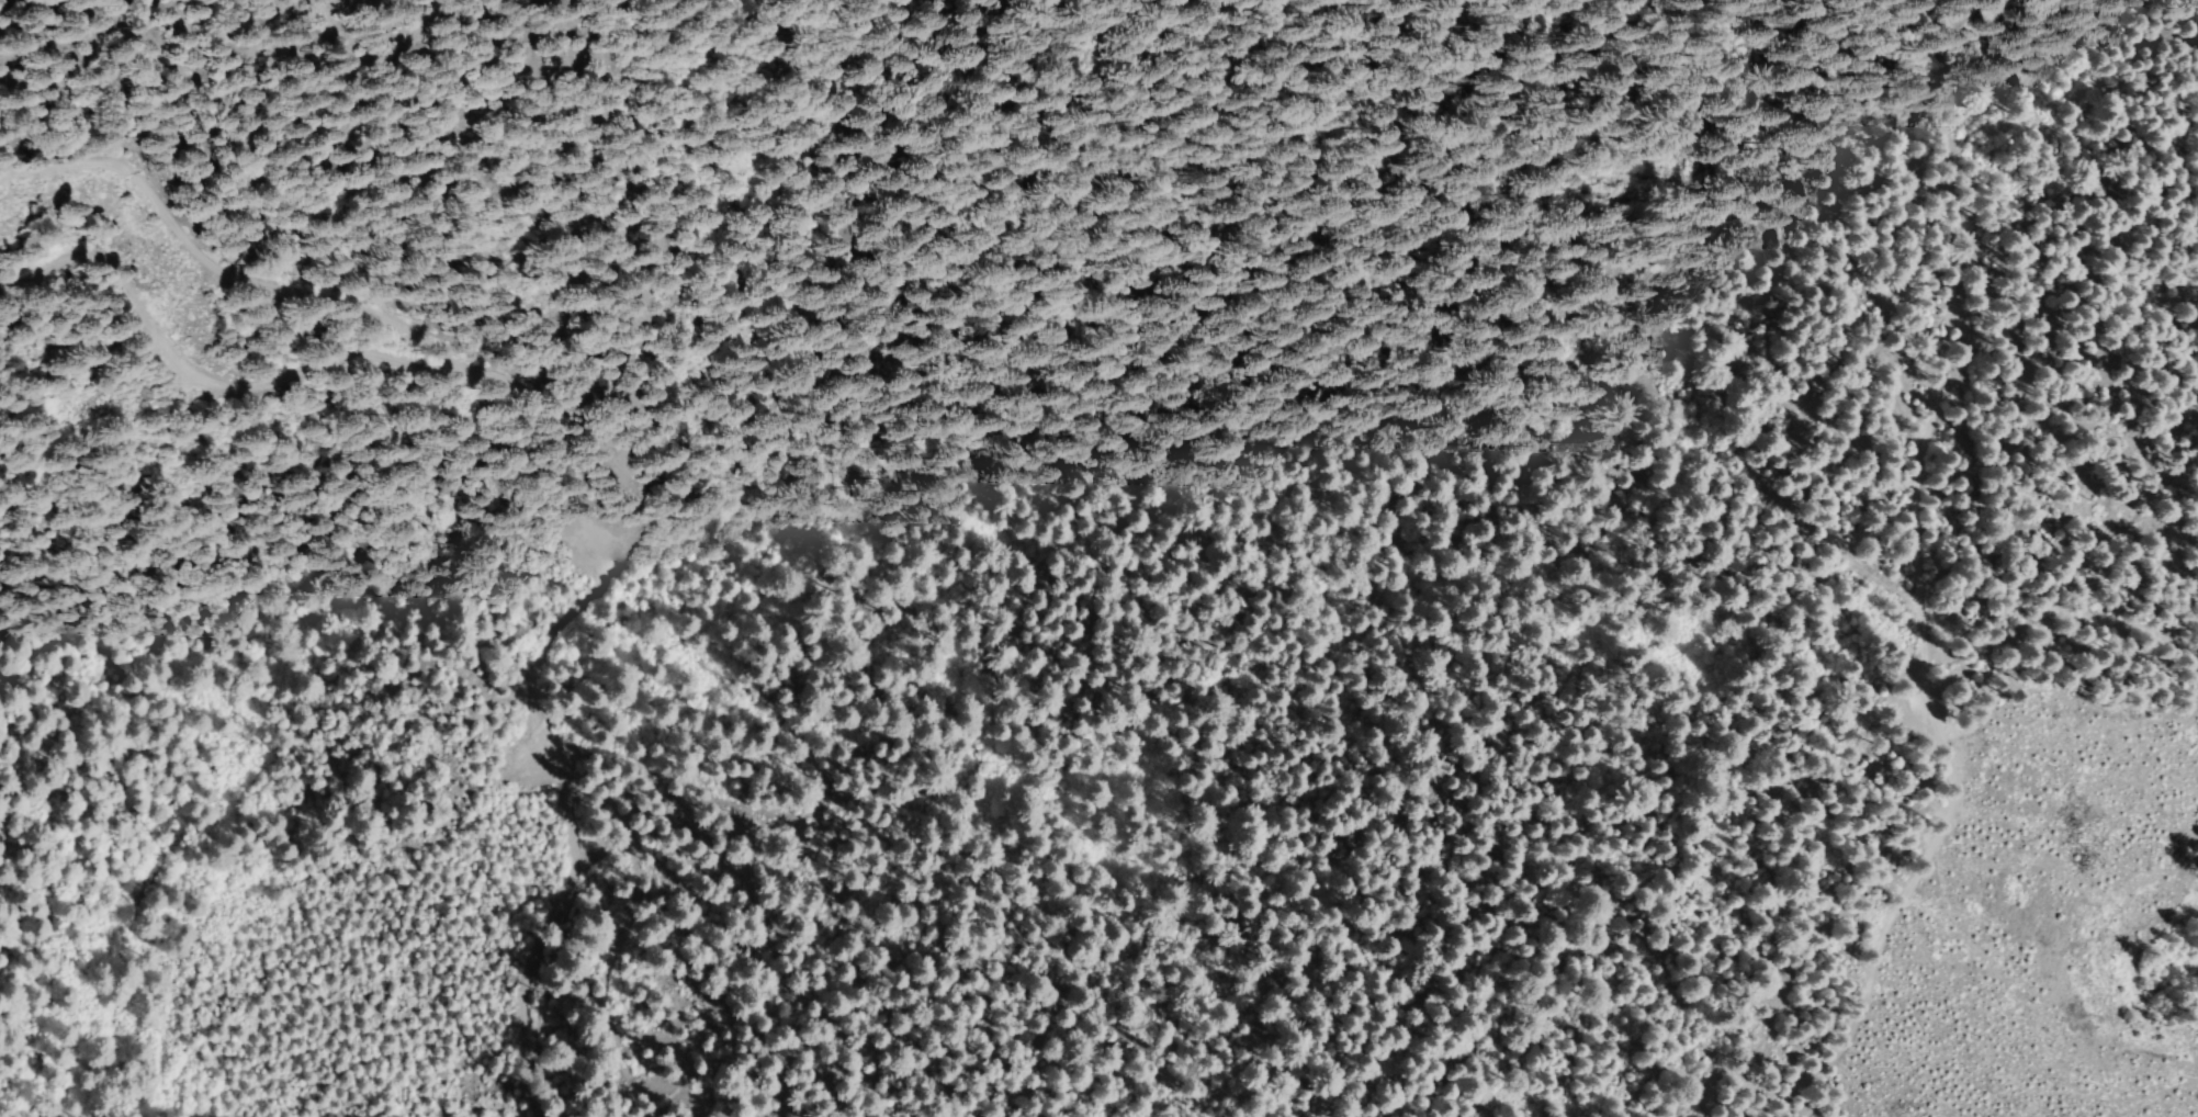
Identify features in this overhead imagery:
road: (1920, 354)
park: (1985, 360)
road: (1815, 528)
road: (1887, 925)

